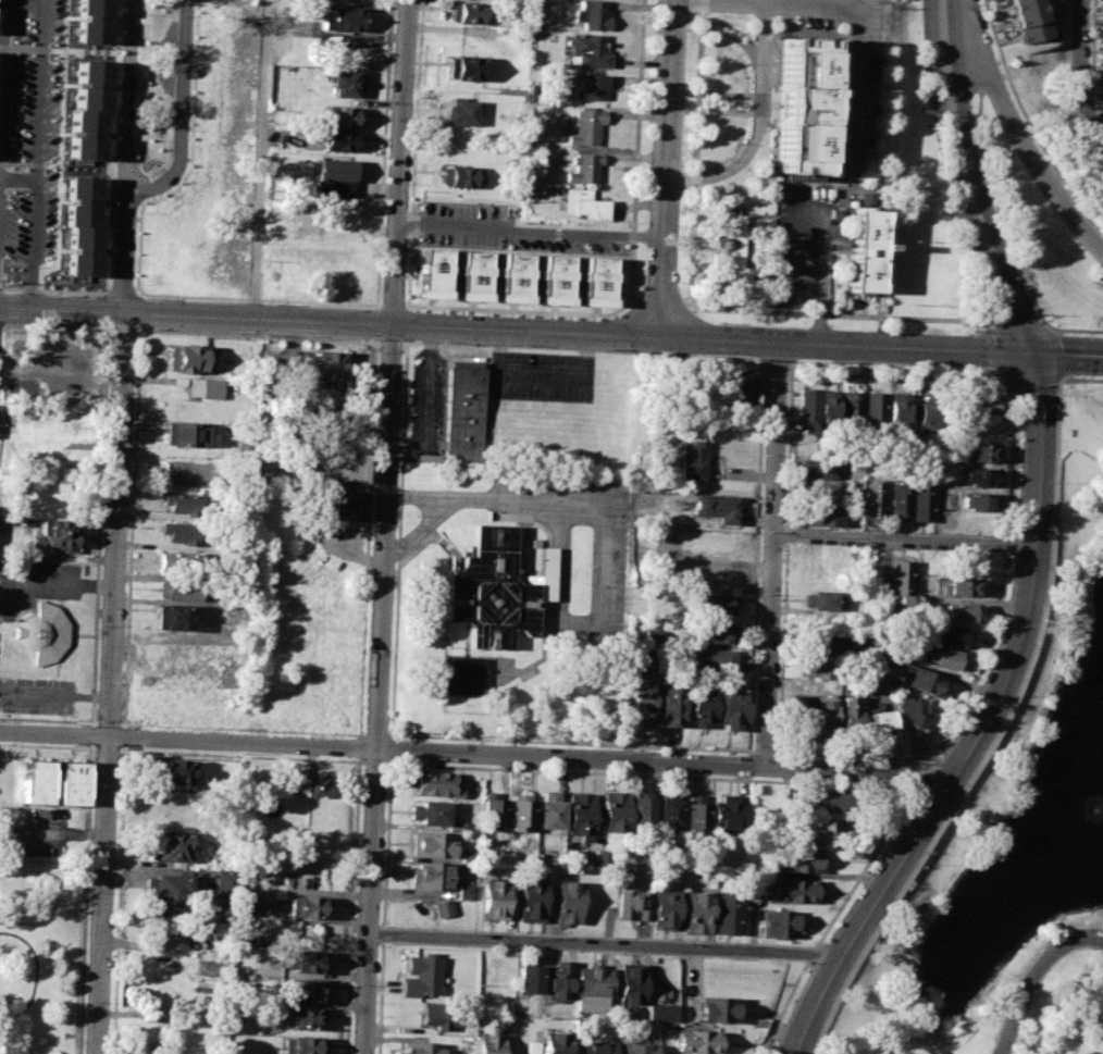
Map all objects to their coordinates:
street lamp: (977, 3)
road: (717, 4)
building: (463, 12)
building: (593, 14)
building: (1027, 18)
building: (94, 22)
building: (342, 22)
road: (851, 45)
road: (1, 47)
building: (587, 51)
street lamp: (921, 64)
street lamp: (999, 66)
building: (464, 67)
building: (227, 70)
parking lot: (844, 75)
road: (1082, 80)
building: (343, 85)
building: (592, 88)
road: (38, 89)
park: (149, 90)
building: (800, 101)
road: (120, 109)
building: (87, 110)
building: (457, 112)
road: (176, 119)
building: (340, 120)
road: (758, 123)
building: (585, 127)
road: (1016, 134)
building: (339, 144)
street lamp: (1037, 146)
road: (637, 149)
road: (255, 159)
building: (583, 168)
road: (669, 168)
street lamp: (939, 171)
building: (462, 175)
building: (331, 177)
road: (129, 186)
building: (584, 204)
street lamp: (1086, 216)
building: (191, 218)
building: (82, 226)
road: (33, 228)
road: (530, 230)
parking lot: (803, 243)
road: (792, 249)
building: (734, 250)
building: (868, 251)
road: (825, 253)
road: (122, 265)
building: (431, 270)
building: (473, 273)
building: (513, 274)
building: (555, 276)
building: (597, 278)
street lamp: (971, 281)
road: (60, 292)
road: (127, 295)
road: (136, 295)
road: (139, 297)
road: (259, 300)
road: (392, 305)
road: (660, 305)
road: (523, 310)
road: (139, 313)
road: (835, 313)
street lamp: (1038, 315)
road: (374, 321)
road: (822, 321)
road: (1036, 328)
road: (1045, 328)
street lamp: (974, 330)
road: (1053, 330)
road: (551, 331)
street lamp: (1075, 334)
road: (257, 335)
traffic signals: (1025, 351)
building: (187, 359)
building: (326, 369)
building: (66, 370)
road: (778, 372)
road: (1056, 375)
parking lot: (541, 376)
road: (893, 376)
road: (1058, 377)
street lamp: (1068, 377)
road: (541, 380)
street lamp: (1102, 383)
building: (206, 389)
street lamp: (1001, 390)
street lamp: (1053, 393)
building: (741, 394)
road: (1008, 394)
building: (977, 405)
parking lot: (427, 406)
building: (829, 406)
road: (426, 407)
building: (852, 407)
building: (807, 409)
building: (876, 409)
building: (898, 409)
building: (928, 413)
building: (464, 416)
building: (320, 424)
road: (1013, 426)
building: (187, 435)
building: (980, 451)
building: (692, 460)
building: (337, 469)
building: (818, 470)
building: (979, 478)
street lamp: (1052, 481)
road: (1011, 491)
building: (822, 493)
road: (472, 499)
building: (871, 499)
building: (898, 500)
building: (920, 501)
building: (978, 501)
building: (185, 505)
building: (334, 507)
building: (717, 507)
building: (820, 517)
road: (385, 526)
road: (418, 529)
road: (819, 530)
building: (182, 534)
road: (786, 534)
park: (1074, 534)
building: (59, 536)
road: (367, 536)
road: (903, 540)
building: (717, 545)
road: (1007, 545)
road: (1031, 549)
road: (772, 555)
road: (756, 561)
building: (183, 562)
street lamp: (1048, 569)
building: (714, 578)
building: (900, 581)
road: (52, 584)
parking lot: (35, 586)
road: (104, 586)
building: (958, 586)
building: (496, 591)
building: (179, 592)
building: (821, 599)
building: (712, 605)
building: (958, 611)
street lamp: (1062, 612)
building: (174, 619)
road: (598, 624)
building: (715, 631)
building: (45, 634)
building: (950, 634)
building: (650, 636)
road: (126, 644)
building: (826, 645)
road: (782, 646)
street lamp: (1032, 646)
building: (944, 658)
building: (711, 661)
road: (981, 664)
building: (818, 669)
building: (869, 673)
building: (921, 680)
road: (111, 683)
street lamp: (1033, 696)
parking lot: (37, 697)
building: (641, 700)
building: (699, 705)
building: (669, 706)
building: (730, 709)
building: (798, 709)
building: (823, 711)
building: (914, 712)
building: (848, 715)
road: (1004, 717)
street lamp: (1002, 718)
building: (879, 722)
road: (374, 734)
road: (360, 736)
road: (568, 743)
road: (359, 748)
road: (92, 751)
road: (763, 752)
road: (474, 753)
road: (850, 756)
street lamp: (922, 762)
building: (174, 771)
road: (921, 773)
building: (32, 780)
building: (66, 781)
building: (436, 784)
street lamp: (963, 784)
building: (314, 785)
building: (828, 801)
building: (614, 809)
building: (550, 810)
building: (521, 811)
building: (641, 811)
building: (667, 811)
building: (430, 813)
building: (727, 813)
building: (493, 814)
building: (694, 815)
building: (581, 816)
building: (815, 831)
building: (431, 843)
building: (168, 846)
street lamp: (920, 851)
building: (468, 856)
building: (602, 858)
building: (795, 859)
road: (862, 864)
street lamp: (935, 864)
building: (432, 876)
building: (228, 884)
building: (794, 891)
building: (464, 892)
building: (171, 893)
building: (495, 898)
building: (531, 900)
building: (567, 901)
building: (246, 903)
building: (632, 905)
building: (308, 906)
road: (352, 906)
building: (664, 907)
building: (443, 908)
building: (695, 912)
building: (727, 914)
street lamp: (880, 914)
building: (777, 923)
road: (168, 943)
road: (603, 943)
street lamp: (890, 944)
street lamp: (1040, 951)
road: (808, 953)
building: (309, 960)
street lamp: (801, 962)
building: (421, 974)
road: (1033, 977)
building: (529, 979)
building: (558, 980)
street lamp: (840, 981)
building: (630, 983)
building: (592, 988)
building: (308, 990)
road: (783, 1005)
street lamp: (866, 1006)
building: (717, 1009)
building: (660, 1012)
building: (306, 1017)
building: (438, 1018)
street lamp: (1002, 1019)
building: (504, 1022)
building: (555, 1042)
building: (698, 1042)
building: (489, 1043)
building: (303, 1044)
building: (422, 1047)
building: (532, 1047)
building: (596, 1047)
building: (636, 1049)
street lamp: (807, 1052)

